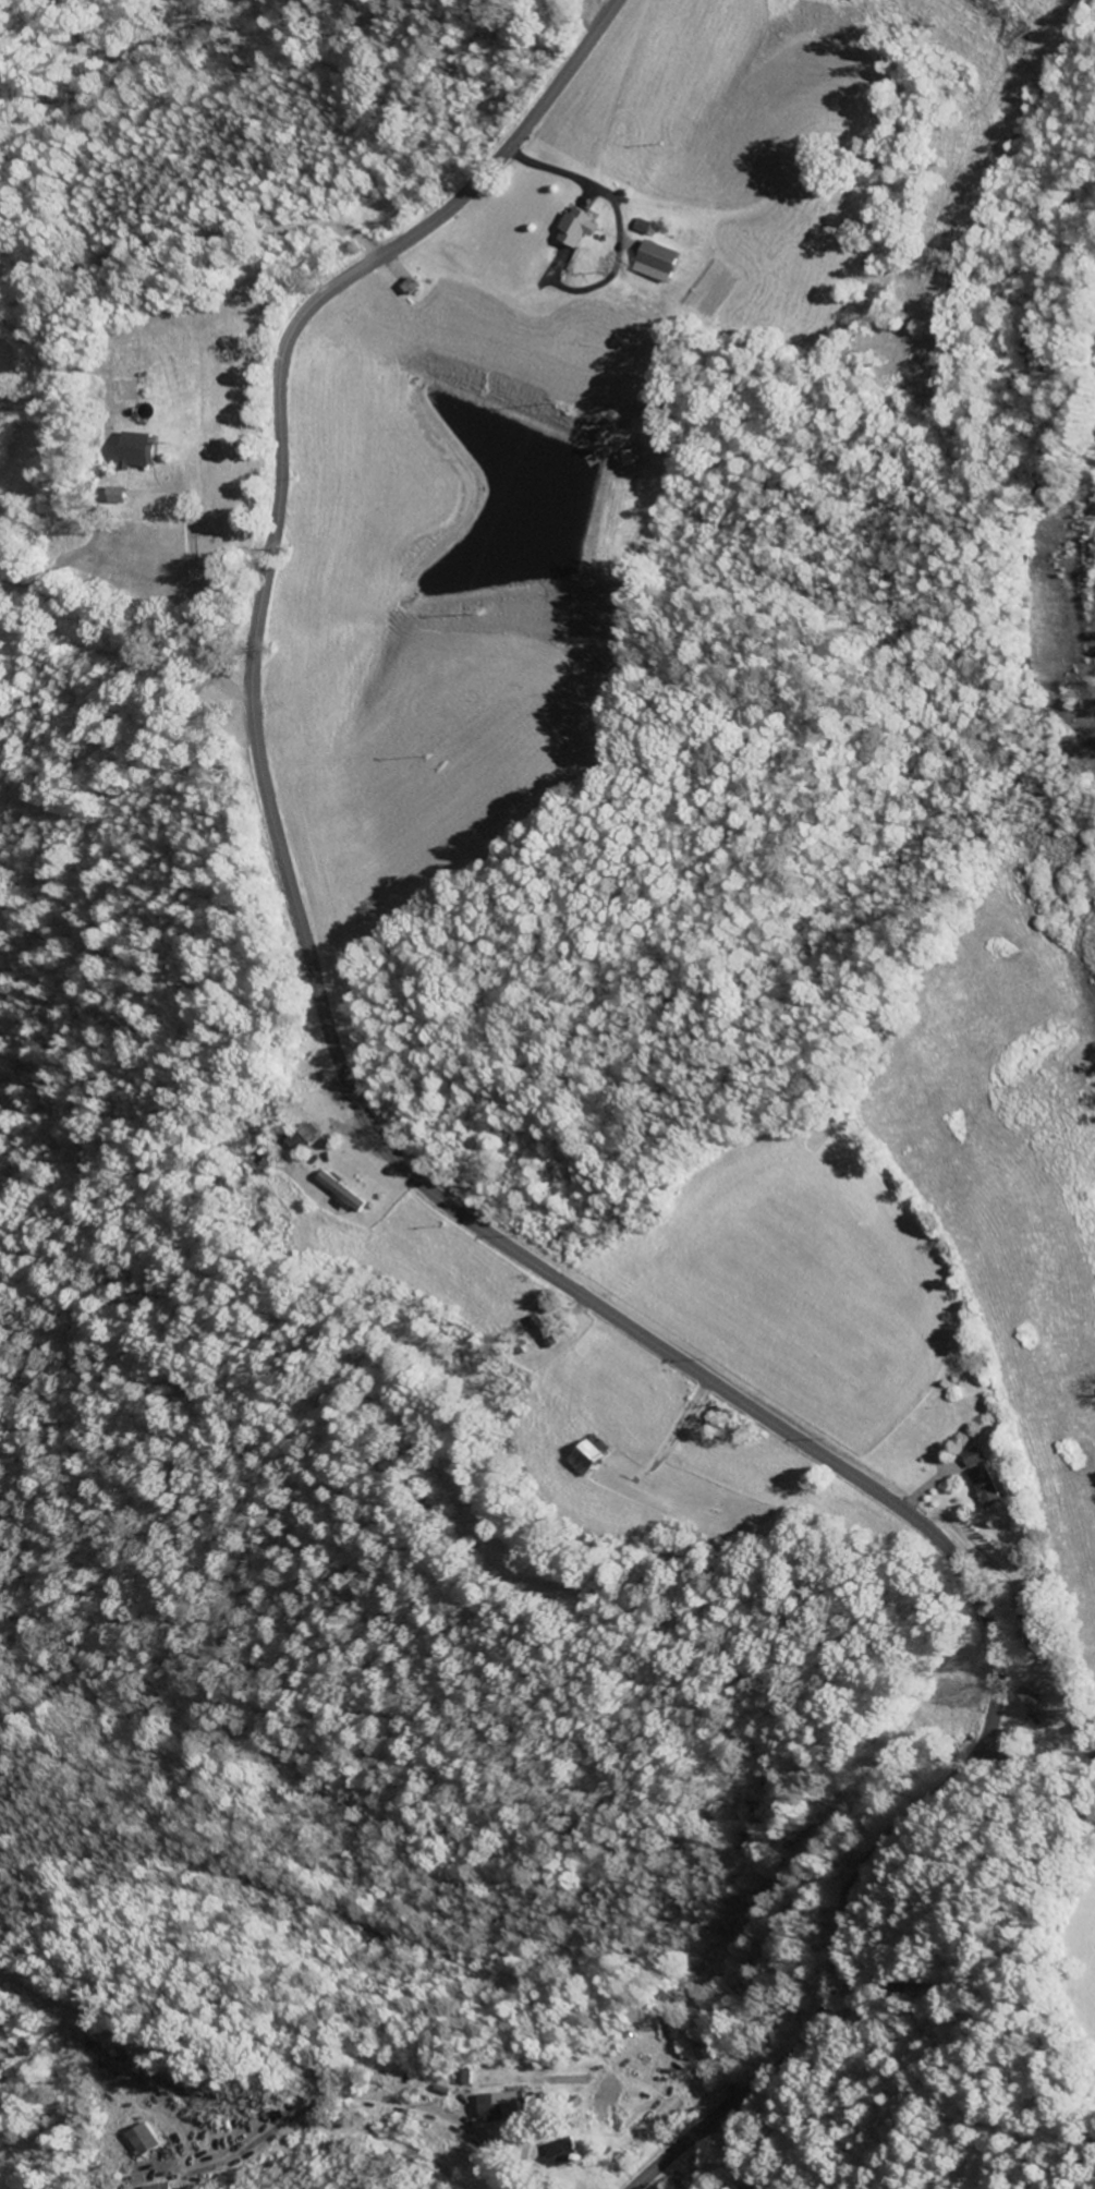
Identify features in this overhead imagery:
building: (580, 230)
building: (660, 264)
building: (135, 449)
road: (196, 551)
building: (350, 1197)
road: (453, 1207)
building: (589, 1458)
building: (973, 1459)
building: (987, 1489)
building: (1038, 1712)
road: (1029, 1759)
building: (469, 2077)
road: (354, 2096)
building: (503, 2107)
building: (142, 2142)
road: (743, 2150)
building: (563, 2154)
building: (163, 2187)

